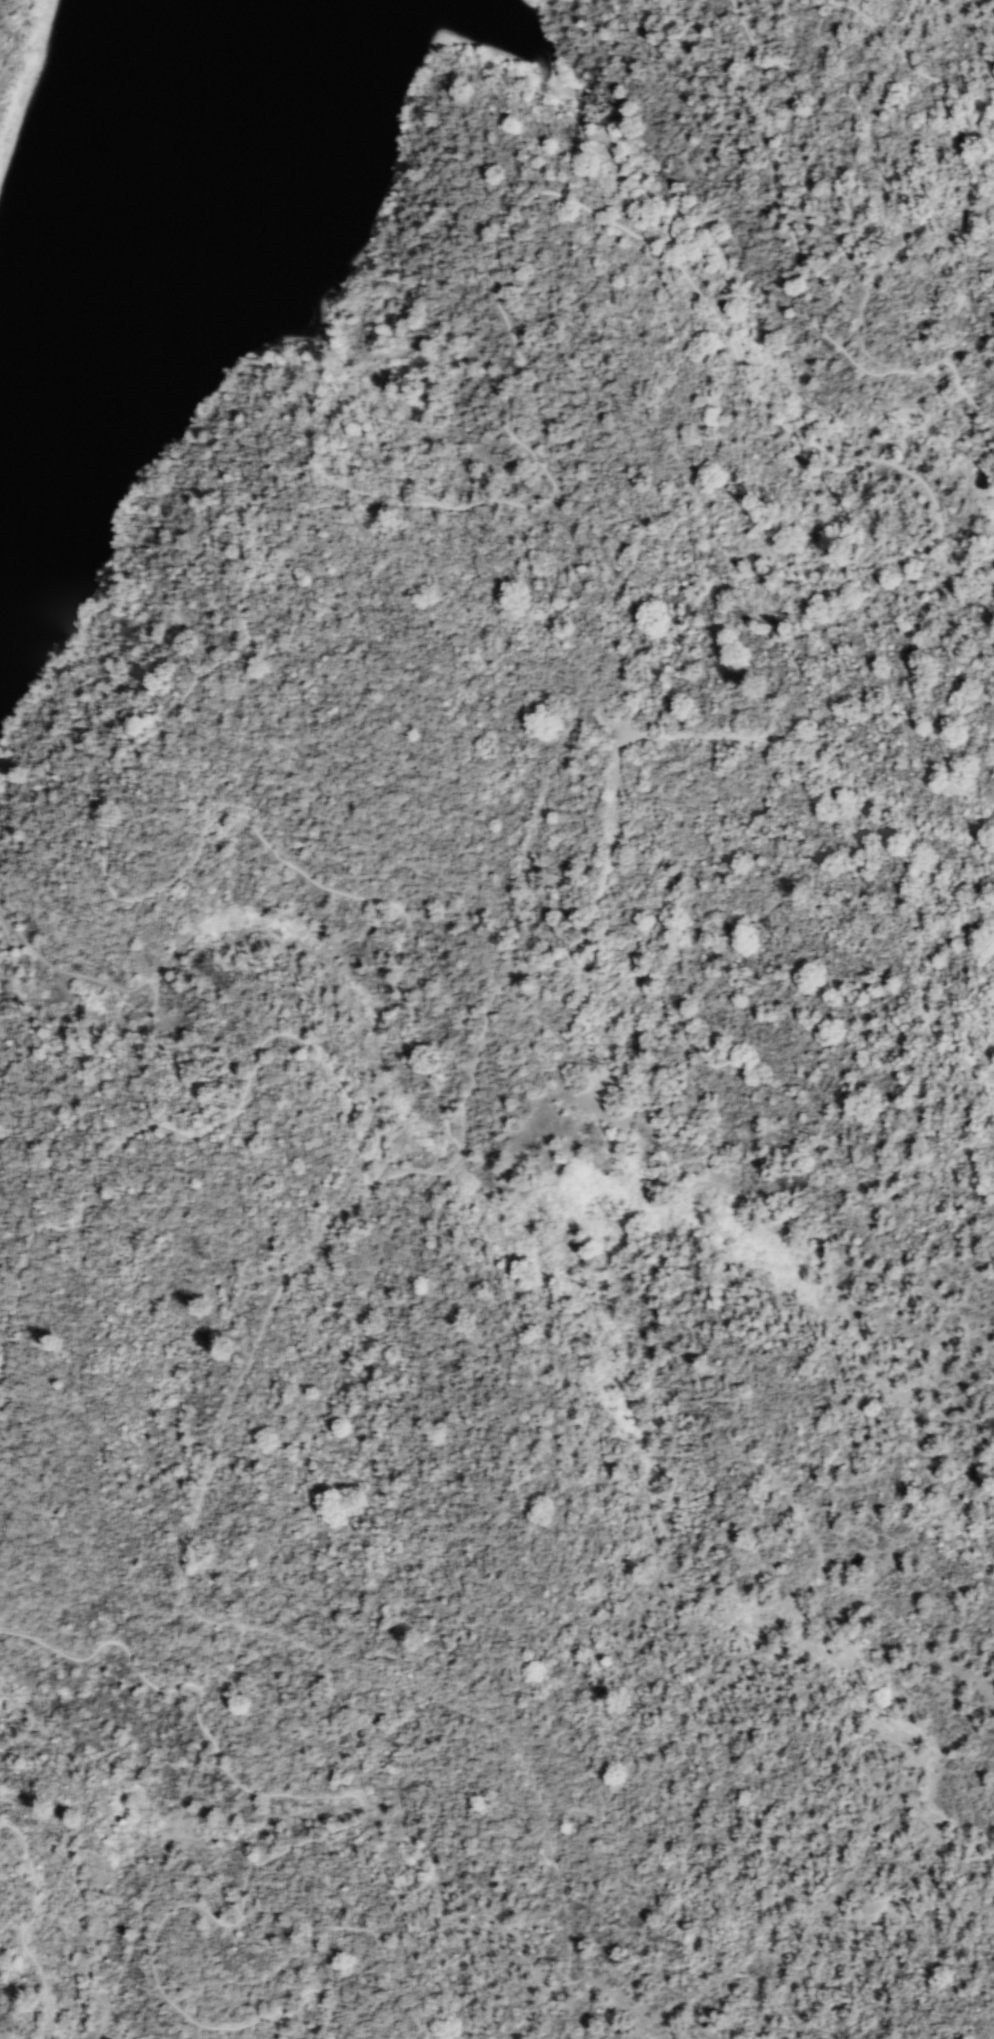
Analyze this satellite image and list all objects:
road: (901, 64)
road: (584, 204)
river: (135, 252)
road: (804, 265)
road: (881, 363)
road: (740, 574)
road: (964, 574)
road: (184, 616)
road: (906, 811)
road: (134, 901)
road: (560, 957)
road: (150, 1020)
road: (174, 1126)
road: (248, 1358)
road: (1, 1630)
road: (228, 1679)
road: (521, 1760)
road: (335, 1797)
road: (33, 1925)
road: (323, 1933)
road: (289, 2010)
road: (199, 2031)

